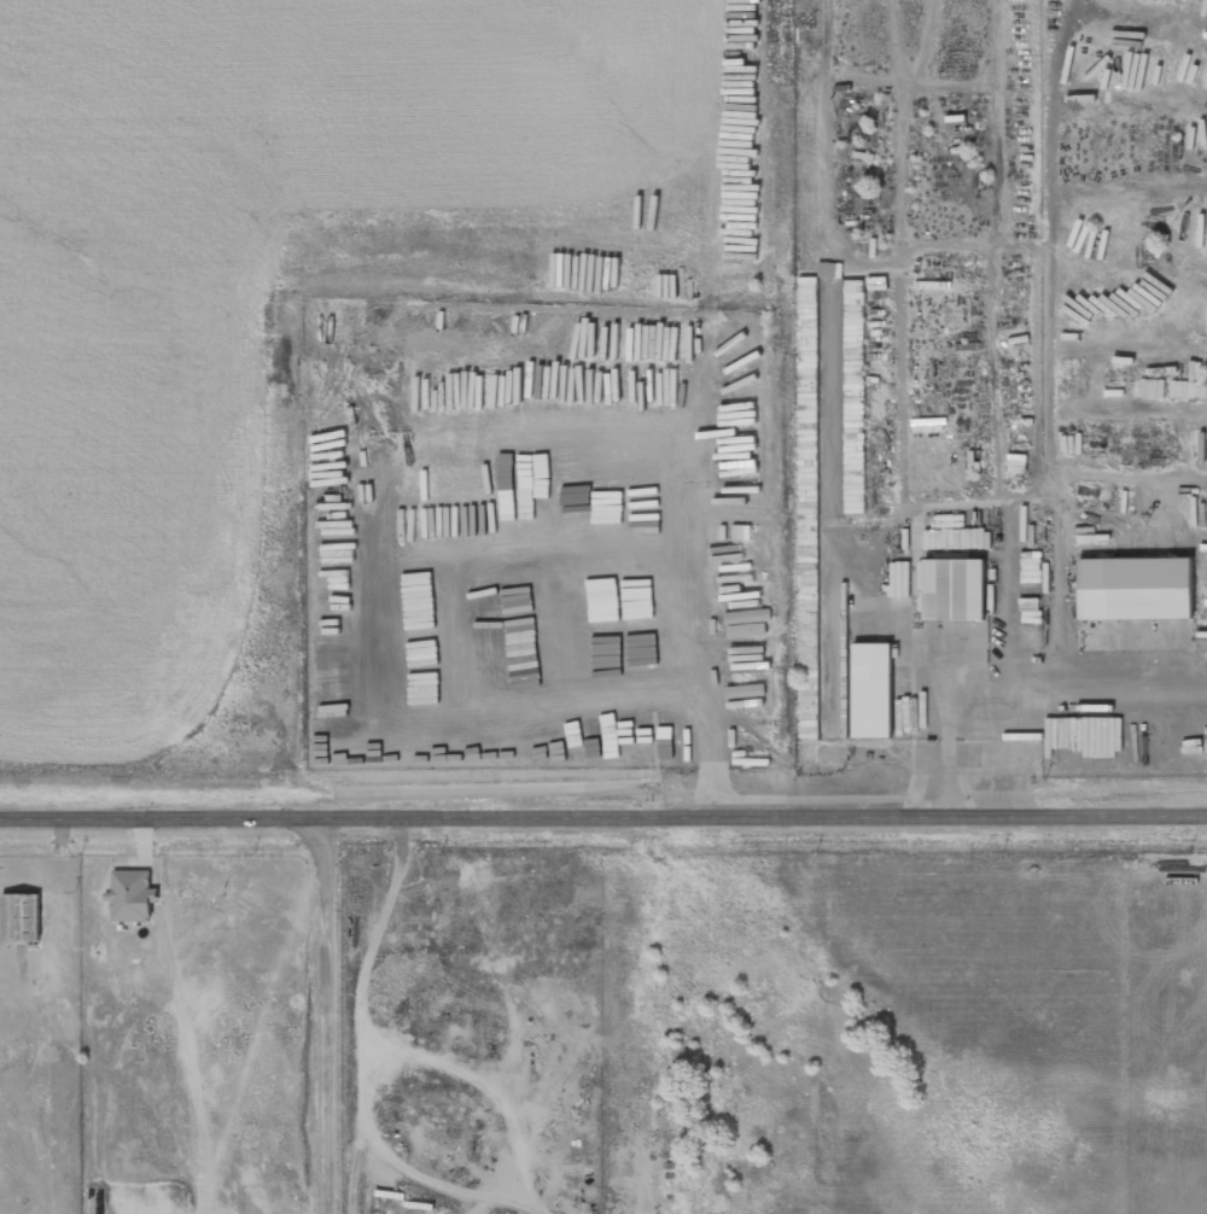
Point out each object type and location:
building: (807, 315)
building: (853, 396)
building: (957, 538)
building: (1135, 588)
building: (954, 589)
building: (807, 672)
building: (871, 689)
road: (602, 817)
building: (132, 895)
building: (21, 917)
road: (323, 1016)

